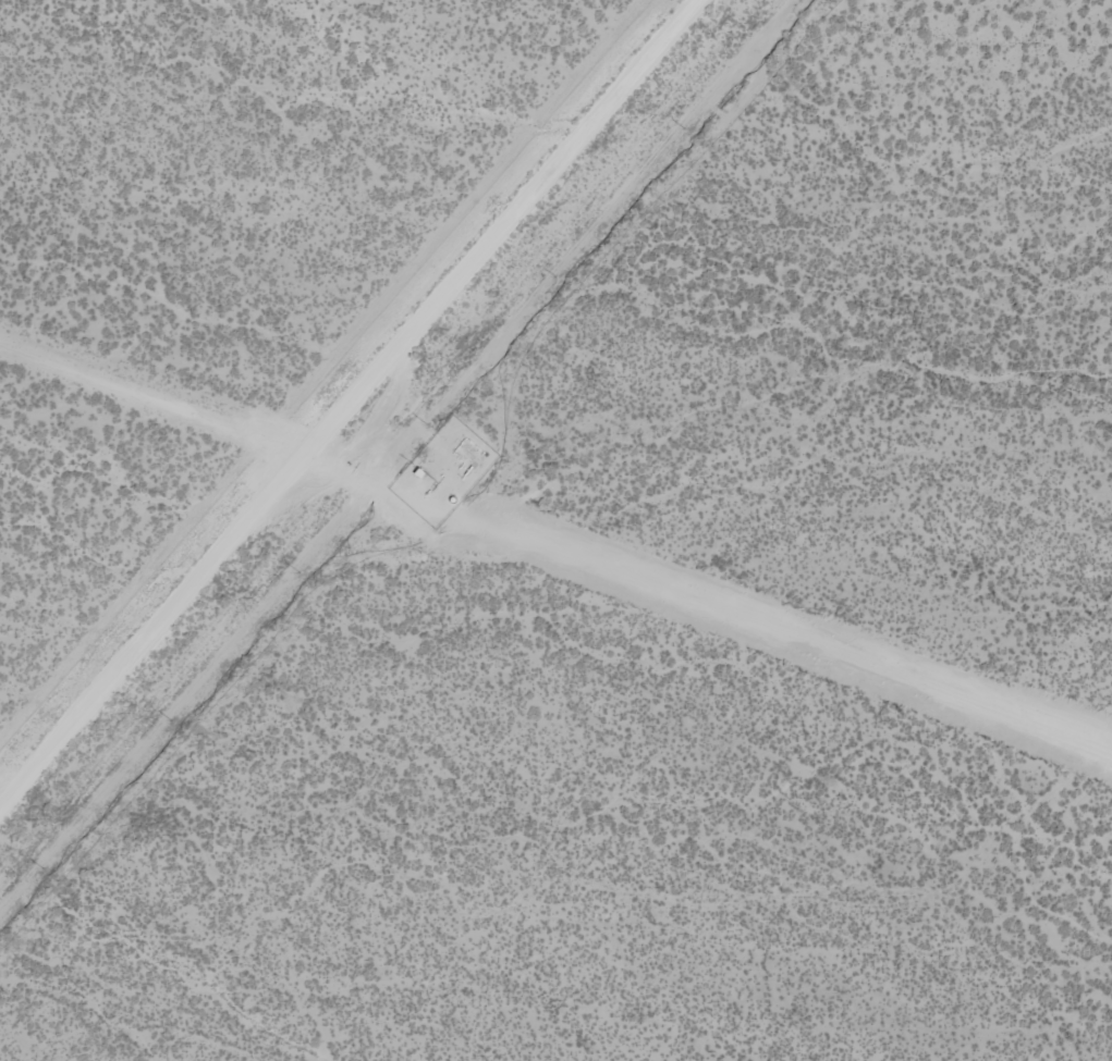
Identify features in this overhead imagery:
road: (349, 402)
road: (188, 999)

